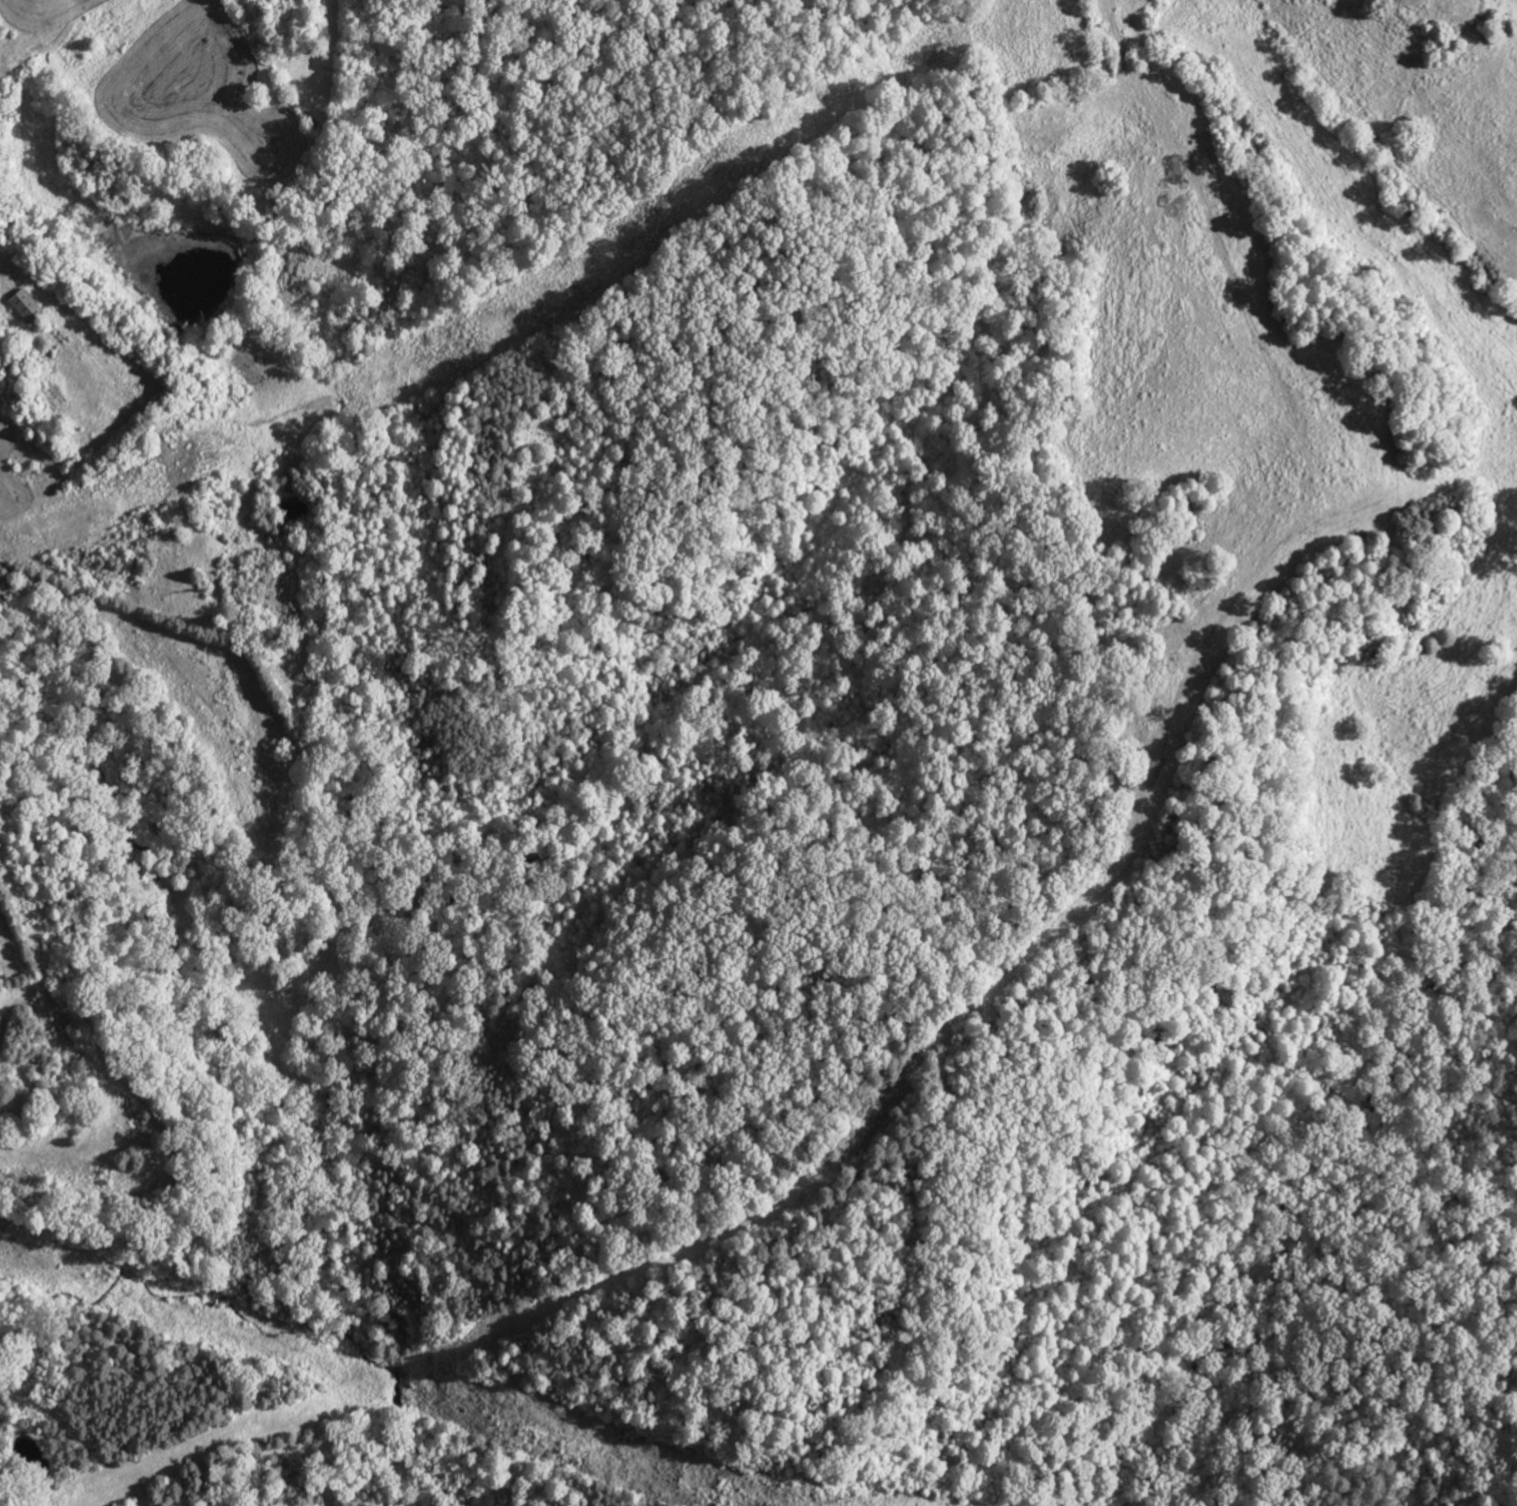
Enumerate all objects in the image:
power tower: (537, 1426)
power tower: (782, 1505)

